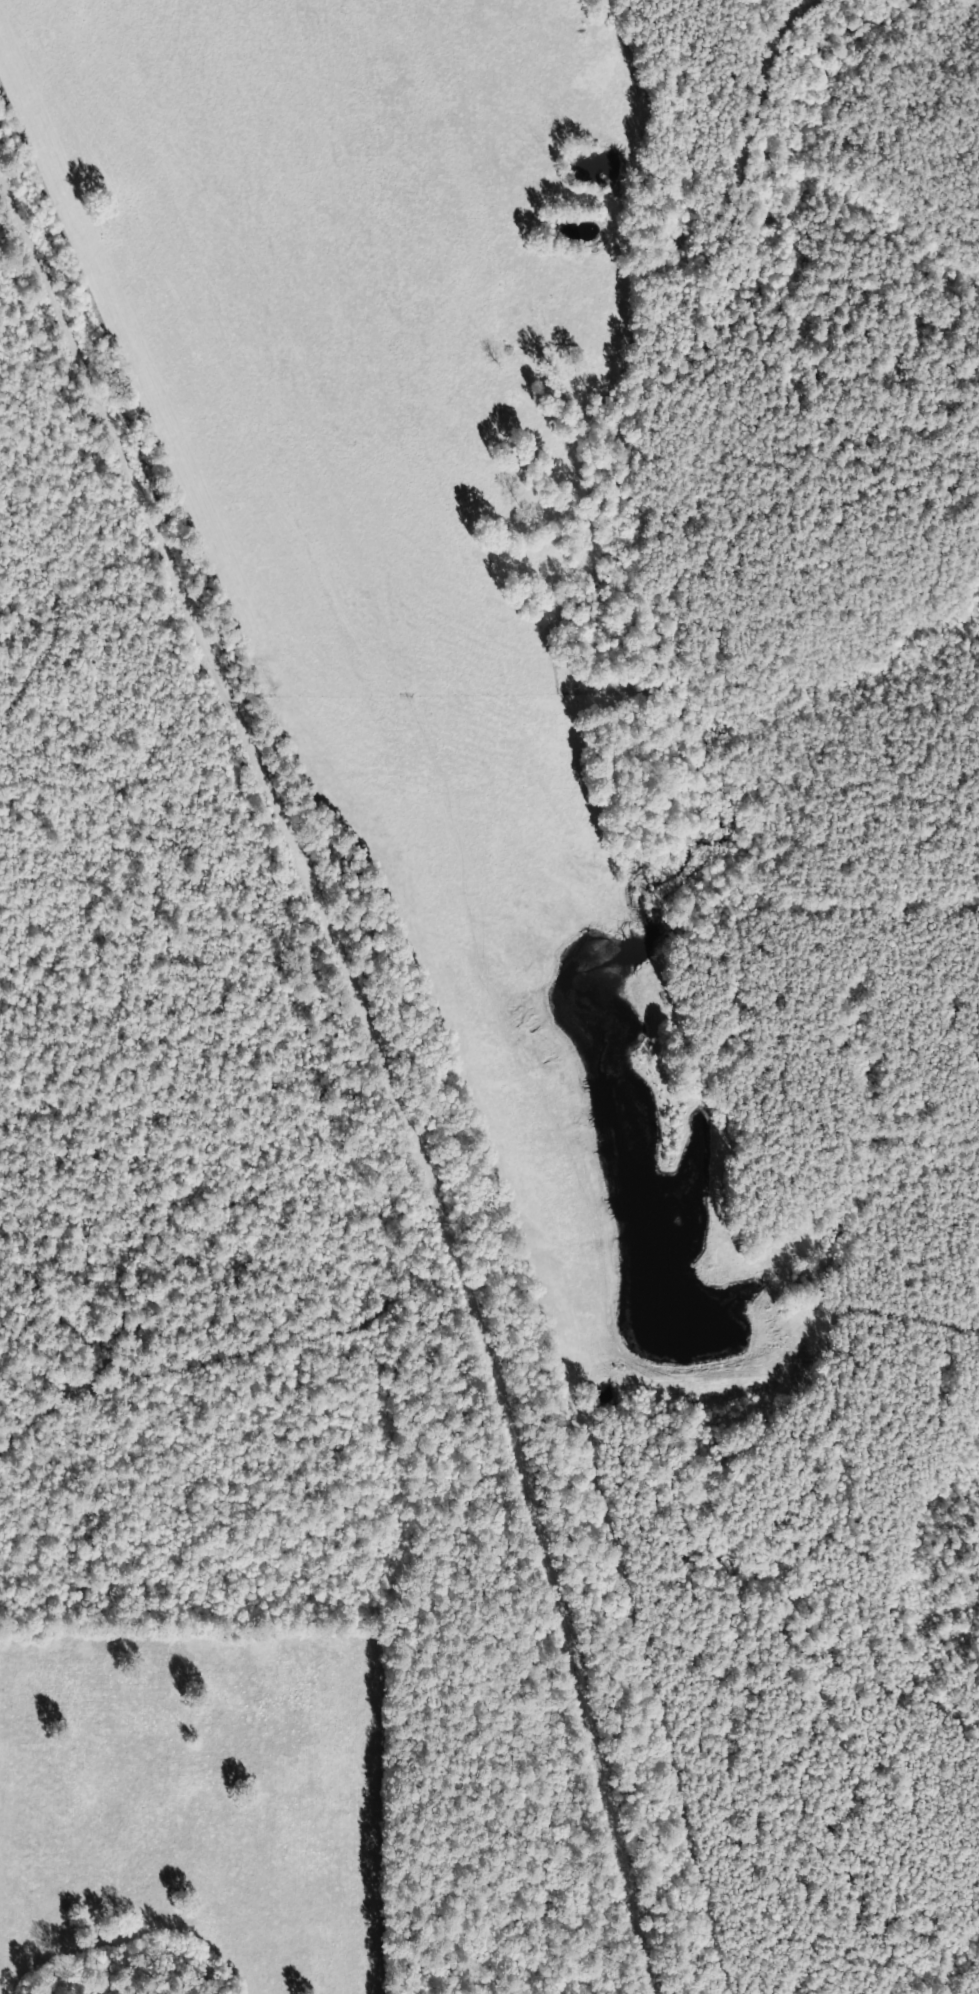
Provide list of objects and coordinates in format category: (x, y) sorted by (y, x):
railway: (371, 1079)

